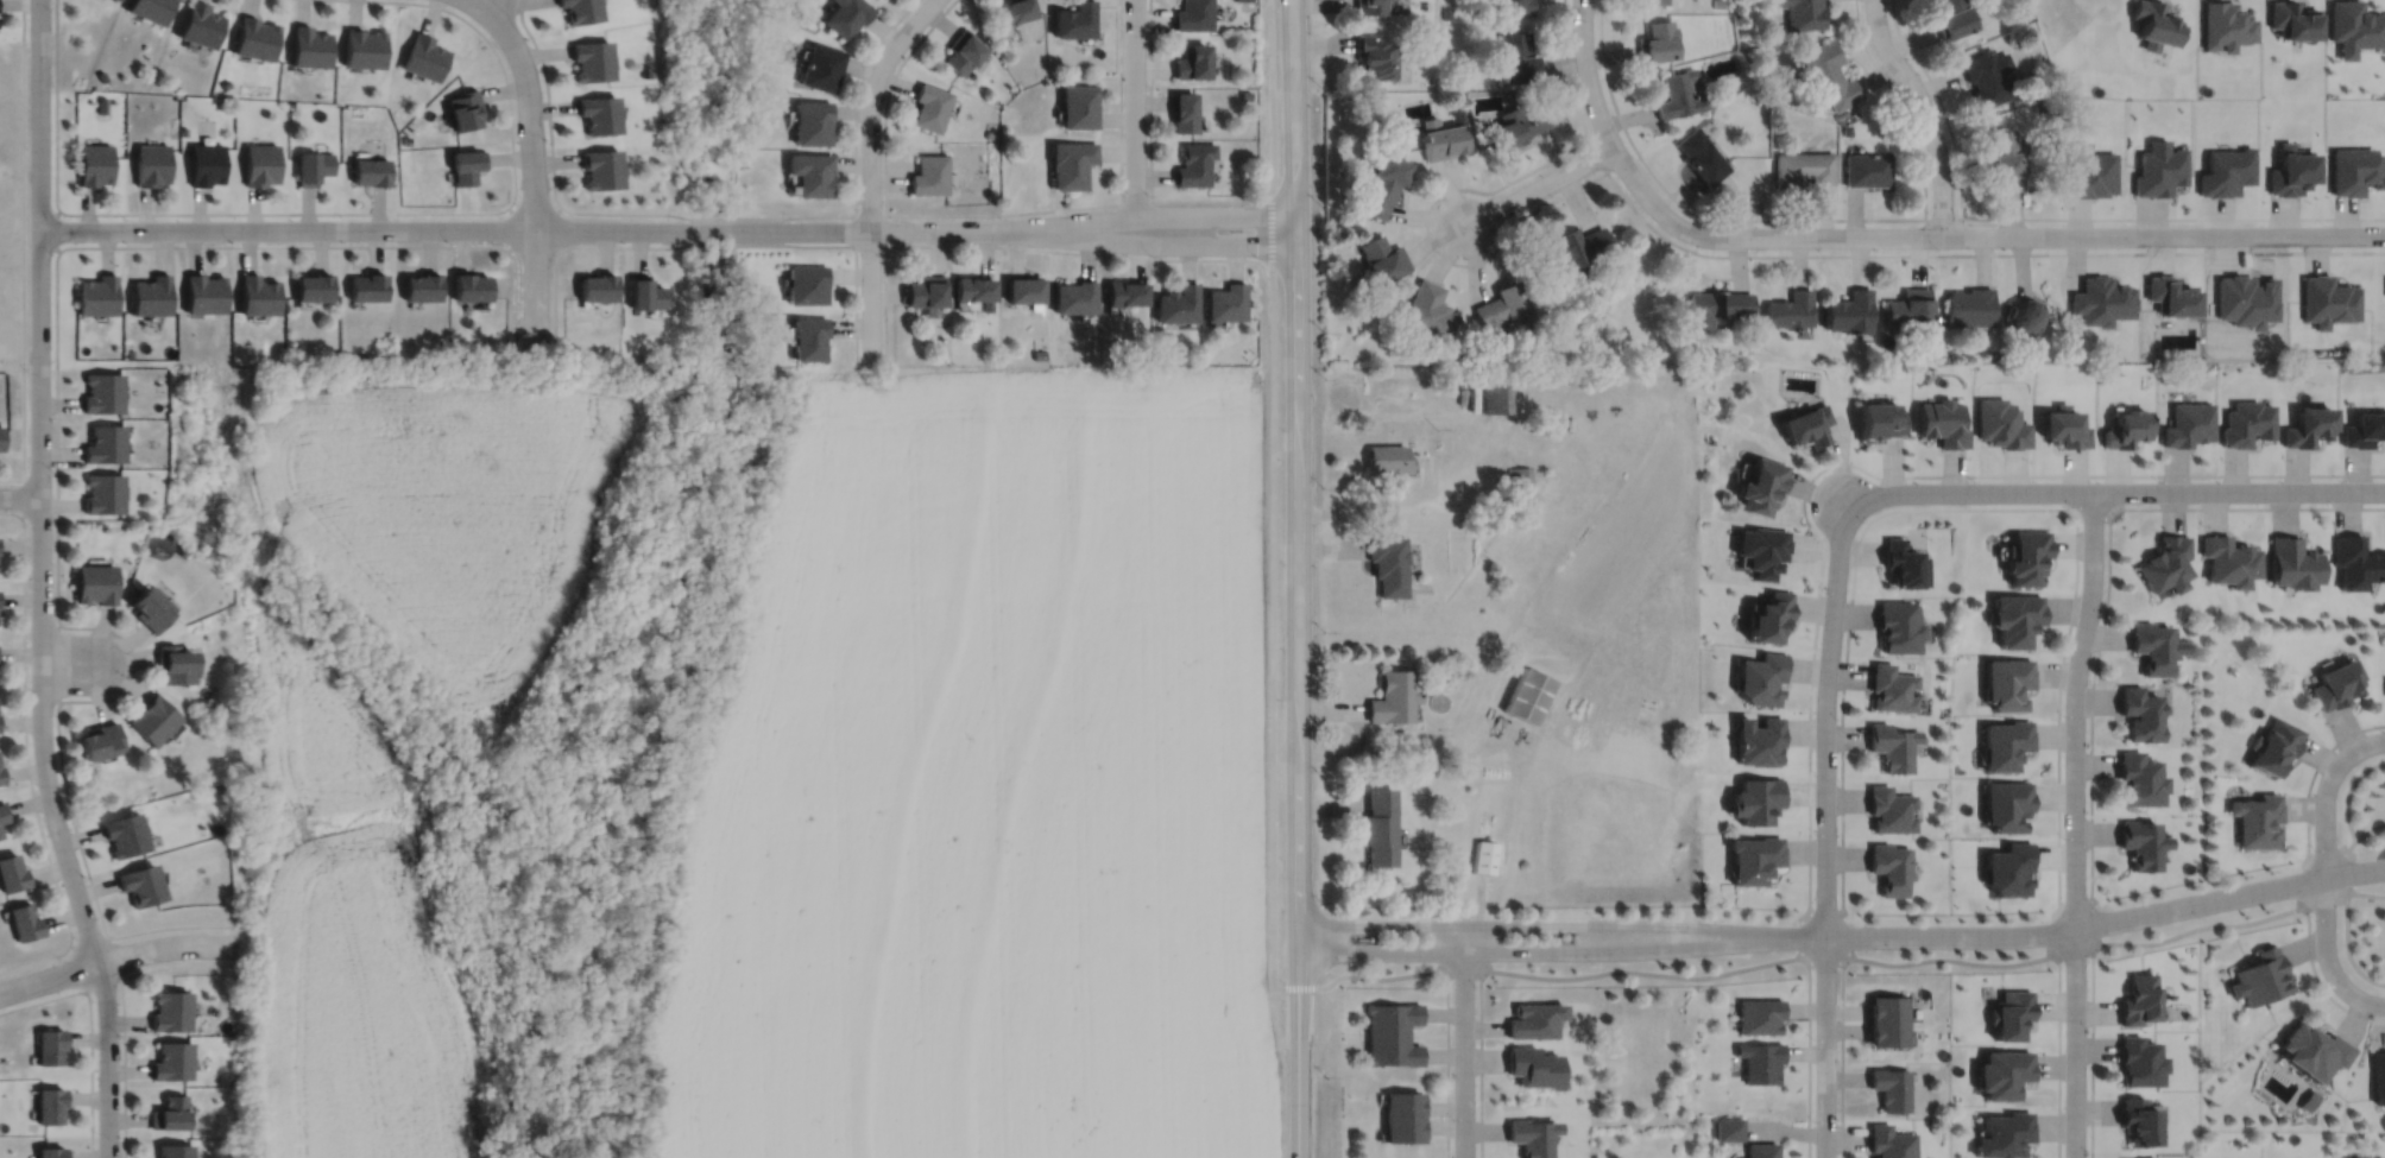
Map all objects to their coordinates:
building: (121, 0)
road: (473, 1)
road: (475, 1)
building: (1649, 1)
building: (1718, 2)
building: (1371, 6)
building: (1515, 6)
building: (149, 8)
building: (580, 10)
building: (1012, 10)
building: (1446, 12)
building: (1803, 13)
building: (1194, 14)
building: (845, 15)
building: (1952, 18)
building: (1074, 19)
building: (2293, 19)
building: (2153, 23)
building: (198, 24)
building: (2355, 24)
building: (2226, 25)
building: (254, 37)
building: (1655, 40)
building: (309, 45)
building: (362, 46)
building: (963, 50)
building: (1376, 55)
building: (424, 56)
building: (1518, 56)
building: (592, 58)
building: (1193, 61)
building: (821, 67)
building: (648, 71)
building: (749, 74)
building: (1828, 74)
building: (1986, 76)
building: (225, 83)
building: (2037, 87)
building: (1245, 94)
building: (1679, 94)
road: (1941, 102)
building: (183, 103)
road: (1903, 103)
building: (930, 106)
building: (1078, 106)
building: (2037, 107)
building: (465, 108)
building: (1185, 112)
road: (1925, 112)
building: (599, 113)
building: (1841, 113)
building: (810, 121)
road: (1134, 121)
building: (1518, 125)
building: (1845, 129)
building: (989, 133)
building: (1441, 138)
building: (743, 156)
building: (1701, 156)
building: (2004, 160)
building: (151, 163)
building: (206, 163)
building: (259, 163)
building: (1071, 163)
building: (93, 164)
building: (1195, 164)
building: (467, 165)
building: (313, 166)
road: (532, 166)
road: (870, 167)
building: (1803, 167)
building: (601, 169)
building: (1867, 169)
building: (2225, 170)
building: (2291, 170)
building: (2355, 170)
building: (371, 171)
building: (2158, 171)
building: (809, 172)
building: (2089, 172)
building: (929, 173)
building: (1384, 185)
road: (1538, 185)
road: (1204, 200)
road: (322, 211)
road: (854, 215)
road: (985, 215)
road: (1150, 215)
road: (715, 217)
road: (1917, 217)
road: (524, 228)
road: (1903, 235)
road: (719, 242)
road: (1150, 242)
road: (1012, 245)
building: (1577, 247)
road: (1691, 248)
road: (23, 252)
building: (1383, 259)
building: (807, 284)
building: (472, 286)
building: (313, 287)
building: (367, 287)
building: (422, 287)
building: (595, 287)
building: (926, 291)
building: (1026, 291)
building: (973, 292)
building: (644, 293)
building: (1125, 293)
building: (96, 295)
building: (203, 295)
building: (150, 296)
building: (257, 296)
building: (2170, 296)
building: (1075, 297)
building: (2100, 300)
building: (2328, 300)
building: (1226, 303)
building: (1178, 304)
building: (1715, 306)
building: (1969, 306)
building: (1502, 308)
building: (1908, 308)
building: (1594, 310)
building: (1787, 310)
building: (1430, 311)
building: (1848, 312)
building: (2023, 315)
building: (2046, 317)
building: (809, 338)
building: (1040, 354)
building: (1459, 359)
building: (1942, 359)
building: (105, 393)
building: (1495, 394)
building: (1879, 422)
building: (1943, 423)
building: (2001, 424)
building: (2247, 424)
building: (2188, 425)
building: (1805, 426)
building: (2309, 428)
building: (2063, 429)
building: (2126, 430)
building: (2364, 431)
road: (56, 438)
building: (1, 439)
building: (105, 444)
building: (1388, 458)
building: (1519, 479)
building: (1759, 488)
road: (2113, 489)
building: (103, 494)
road: (20, 495)
road: (25, 498)
road: (1377, 506)
crop: (447, 510)
road: (1327, 546)
building: (1761, 546)
building: (181, 550)
building: (2026, 553)
building: (2226, 557)
building: (2291, 559)
building: (1387, 561)
building: (1903, 561)
building: (2163, 561)
building: (2356, 562)
road: (1294, 578)
building: (93, 581)
road: (40, 582)
building: (146, 605)
building: (1767, 614)
building: (2015, 615)
building: (1898, 624)
building: (2151, 644)
building: (171, 662)
road: (68, 663)
building: (1760, 676)
building: (2006, 679)
building: (2335, 682)
building: (1891, 686)
building: (1528, 692)
building: (1393, 694)
road: (1329, 708)
building: (2137, 710)
building: (150, 717)
road: (2090, 719)
building: (96, 738)
building: (1758, 739)
building: (2004, 742)
building: (2273, 743)
building: (1892, 745)
road: (1351, 753)
road: (1437, 753)
road: (26, 759)
road: (2315, 770)
building: (0, 774)
building: (2137, 777)
crop: (995, 780)
building: (1755, 798)
building: (2006, 803)
road: (1327, 805)
building: (1889, 808)
road: (2346, 808)
building: (4, 810)
building: (2255, 818)
road: (2074, 823)
building: (1376, 824)
road: (1824, 825)
building: (0, 833)
building: (122, 833)
building: (2138, 842)
road: (2337, 848)
building: (1483, 855)
building: (1754, 858)
building: (1889, 866)
building: (2007, 867)
road: (2349, 868)
building: (11, 872)
road: (2324, 872)
building: (139, 882)
road: (2323, 901)
road: (1828, 912)
building: (24, 920)
road: (1529, 924)
crop: (340, 926)
road: (2076, 926)
road: (2053, 928)
road: (2346, 929)
road: (1802, 931)
road: (1844, 935)
road: (1529, 950)
road: (2071, 951)
road: (112, 955)
road: (115, 957)
road: (1950, 957)
road: (1825, 958)
road: (78, 967)
road: (1463, 972)
road: (1649, 972)
building: (2258, 976)
road: (2318, 980)
building: (2134, 999)
road: (1447, 1006)
building: (1886, 1007)
road: (122, 1010)
building: (169, 1010)
building: (2009, 1014)
building: (1759, 1015)
building: (1392, 1017)
building: (1532, 1019)
road: (90, 1030)
building: (1886, 1032)
road: (1463, 1040)
building: (50, 1046)
road: (2091, 1048)
building: (1392, 1049)
building: (2310, 1050)
building: (170, 1061)
building: (1760, 1061)
building: (2135, 1061)
building: (1531, 1067)
building: (2002, 1072)
building: (2378, 1076)
building: (1891, 1087)
building: (2307, 1100)
building: (1401, 1103)
building: (50, 1105)
building: (168, 1113)
building: (2133, 1121)
building: (1728, 1128)
building: (1401, 1129)
building: (2004, 1134)
building: (1529, 1135)
building: (1889, 1141)
building: (1760, 1150)
building: (172, 1151)
building: (50, 1152)
building: (2360, 1157)

